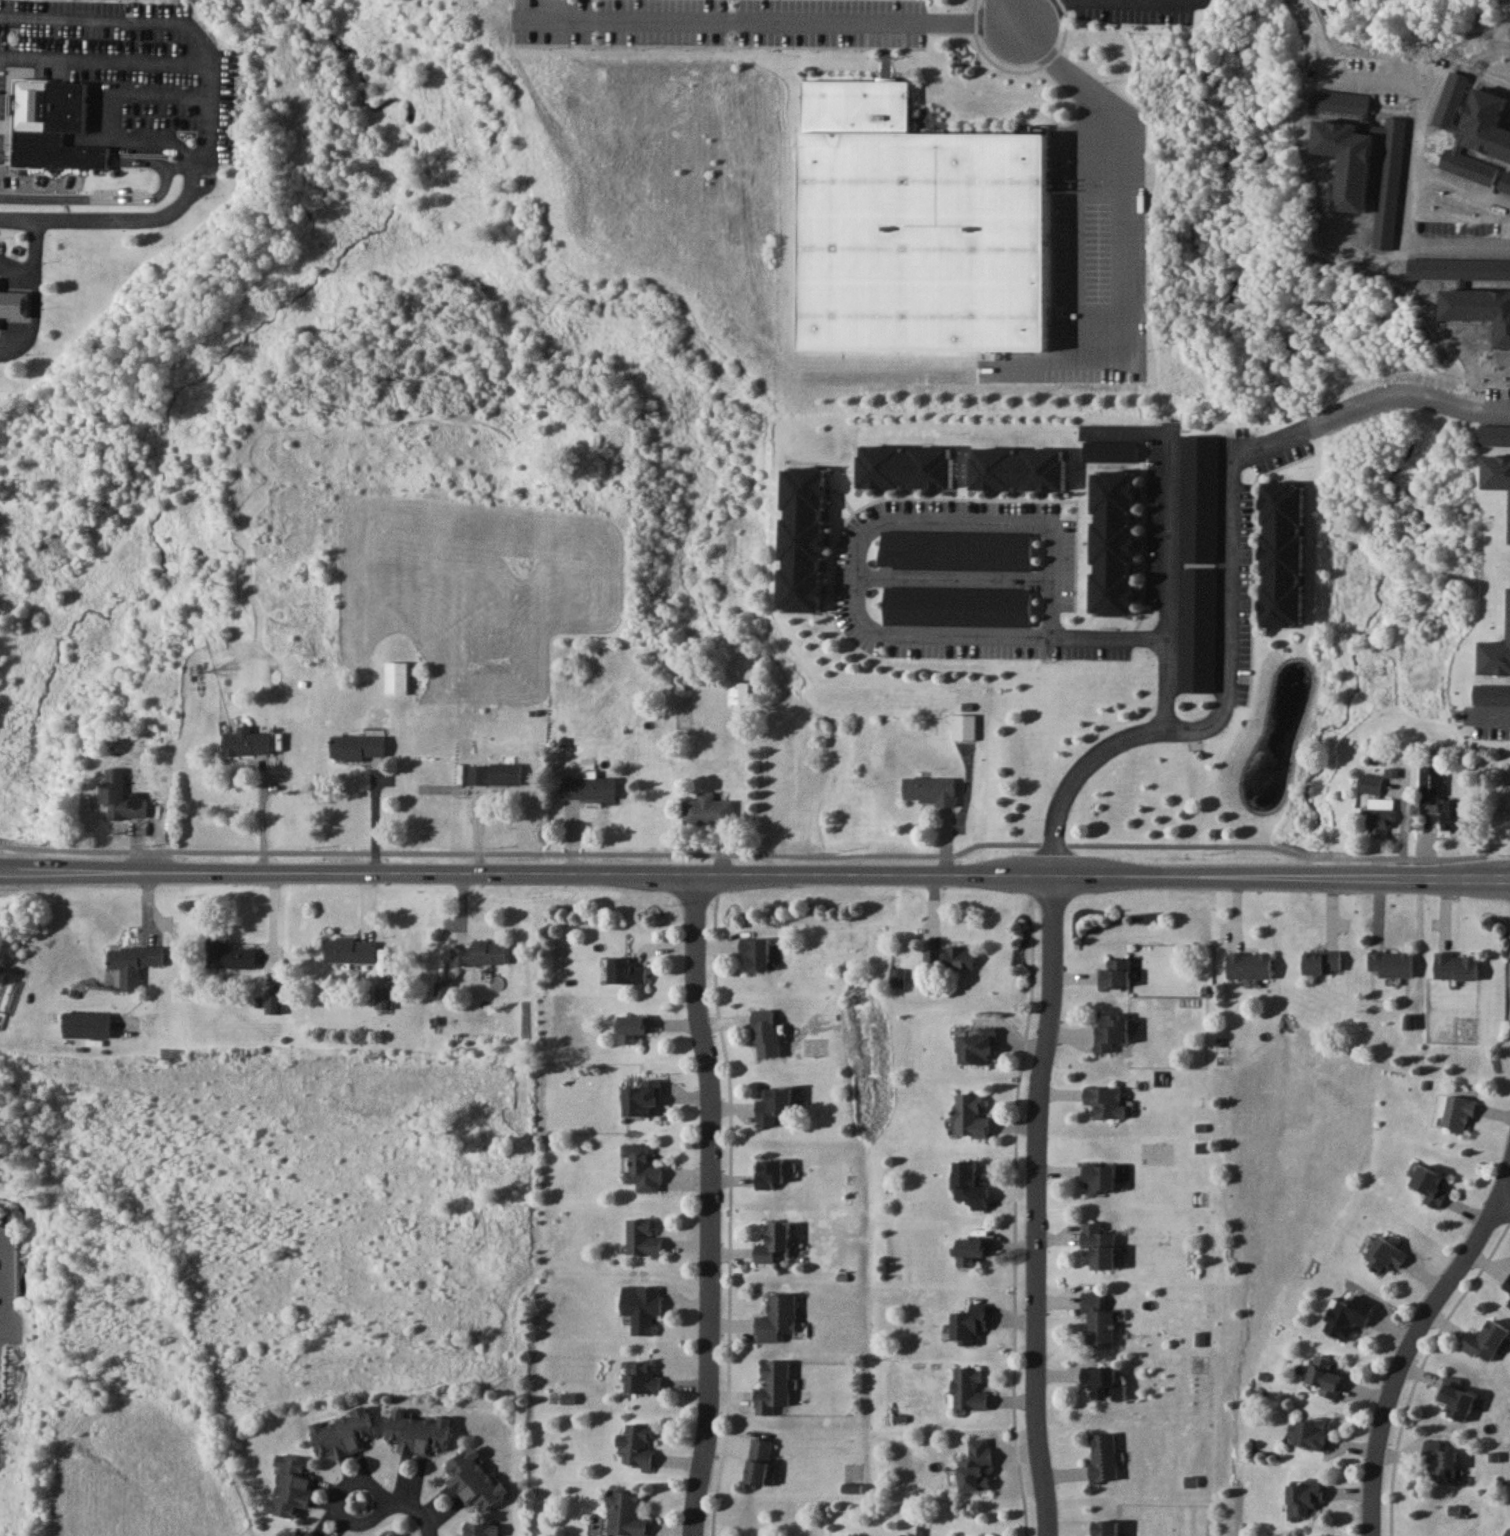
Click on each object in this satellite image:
road: (1012, 14)
road: (1042, 14)
road: (785, 17)
road: (94, 19)
road: (103, 59)
road: (1020, 69)
road: (204, 85)
road: (151, 92)
road: (97, 99)
building: (51, 127)
road: (148, 142)
road: (5, 157)
road: (196, 158)
road: (140, 161)
road: (1415, 167)
road: (1462, 186)
road: (106, 198)
road: (18, 220)
road: (133, 220)
building: (914, 227)
road: (36, 242)
road: (1119, 245)
parking lot: (1, 256)
road: (1, 264)
road: (36, 277)
building: (14, 304)
road: (19, 339)
road: (1408, 395)
building: (1101, 449)
road: (1021, 521)
building: (1111, 542)
building: (1282, 553)
road: (953, 577)
road: (1163, 579)
road: (896, 636)
road: (1106, 637)
building: (395, 677)
road: (1227, 680)
building: (739, 692)
road: (1487, 715)
building: (965, 727)
building: (246, 742)
building: (357, 746)
building: (494, 773)
building: (1369, 783)
building: (588, 787)
building: (929, 790)
building: (119, 796)
building: (1439, 798)
building: (707, 810)
road: (265, 814)
building: (1380, 815)
road: (757, 852)
road: (754, 879)
building: (350, 950)
building: (480, 953)
building: (755, 954)
building: (228, 955)
building: (949, 958)
building: (1323, 961)
building: (133, 962)
building: (1390, 963)
building: (1250, 965)
building: (1455, 966)
building: (625, 971)
building: (1115, 973)
building: (443, 989)
building: (383, 997)
building: (274, 1002)
building: (85, 1025)
building: (634, 1025)
building: (1111, 1030)
road: (722, 1033)
building: (765, 1033)
building: (977, 1044)
building: (641, 1098)
building: (1106, 1102)
building: (773, 1104)
building: (1458, 1114)
building: (969, 1116)
building: (641, 1169)
building: (769, 1174)
building: (1100, 1179)
building: (970, 1185)
building: (1430, 1186)
road: (1016, 1206)
road: (1037, 1206)
road: (1502, 1206)
road: (711, 1208)
building: (642, 1239)
building: (773, 1244)
building: (1100, 1246)
building: (971, 1251)
building: (1385, 1255)
road: (6, 1282)
building: (1507, 1286)
building: (1509, 1304)
building: (641, 1307)
building: (1347, 1316)
building: (776, 1319)
building: (1097, 1321)
building: (969, 1324)
road: (1415, 1341)
building: (1485, 1342)
road: (730, 1366)
building: (1326, 1377)
building: (641, 1378)
building: (1098, 1379)
building: (772, 1386)
building: (968, 1389)
building: (1457, 1400)
building: (418, 1432)
building: (1312, 1432)
building: (343, 1433)
building: (638, 1445)
building: (1102, 1456)
building: (1441, 1460)
building: (758, 1461)
building: (975, 1466)
building: (474, 1480)
building: (290, 1486)
building: (1304, 1498)
road: (334, 1504)
building: (625, 1513)
road: (414, 1515)
building: (478, 1529)
building: (300, 1531)
building: (1508, 1532)

